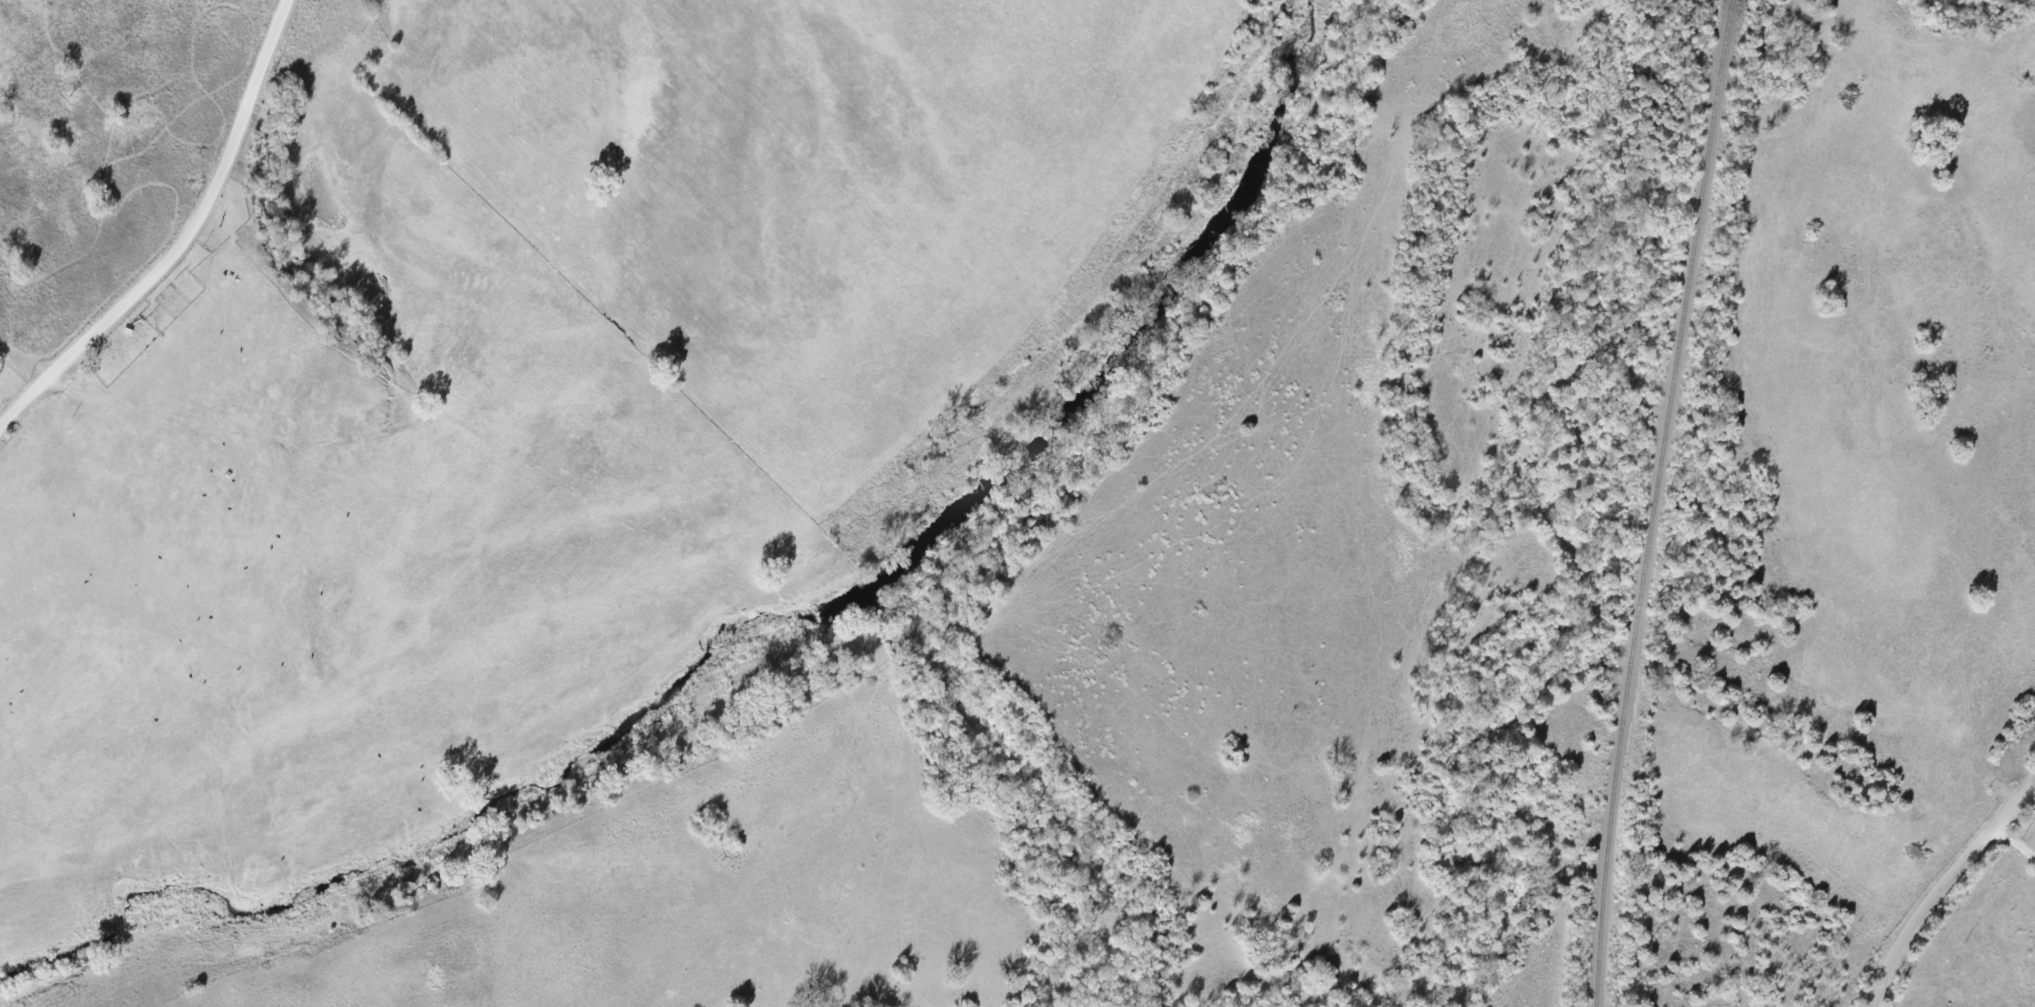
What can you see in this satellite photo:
road: (115, 151)
road: (183, 241)
road: (178, 433)
railway: (1654, 502)
road: (2031, 798)
road: (2015, 845)
road: (1940, 887)

